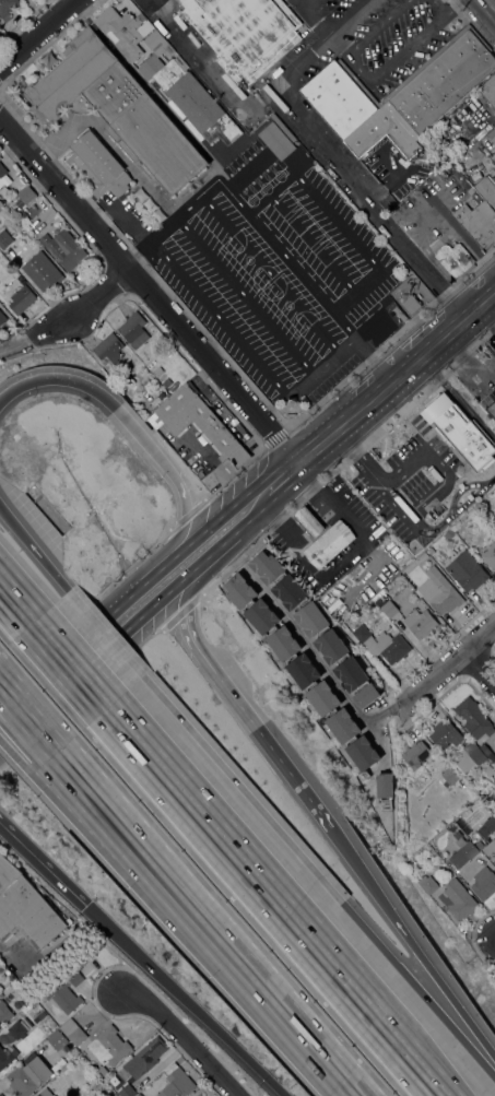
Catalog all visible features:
road: (492, 2)
building: (8, 8)
road: (436, 8)
road: (455, 8)
road: (308, 21)
road: (349, 21)
road: (380, 25)
building: (0, 30)
building: (123, 31)
road: (36, 32)
building: (245, 32)
road: (344, 42)
building: (157, 44)
road: (398, 62)
road: (300, 66)
building: (71, 73)
building: (443, 80)
building: (488, 91)
building: (190, 98)
building: (340, 99)
building: (141, 127)
road: (309, 129)
building: (387, 134)
building: (493, 140)
building: (275, 141)
building: (0, 157)
building: (494, 157)
building: (98, 164)
building: (3, 176)
building: (485, 191)
building: (24, 196)
building: (0, 204)
building: (7, 214)
building: (474, 215)
road: (256, 226)
building: (4, 239)
building: (63, 248)
road: (138, 251)
building: (455, 259)
building: (42, 272)
road: (148, 292)
building: (21, 299)
road: (92, 300)
building: (410, 304)
building: (399, 314)
building: (2, 318)
road: (260, 318)
road: (229, 326)
building: (133, 330)
road: (379, 335)
road: (27, 340)
building: (108, 349)
road: (370, 358)
building: (157, 372)
road: (394, 375)
building: (166, 382)
road: (457, 398)
building: (155, 402)
building: (490, 403)
building: (198, 423)
building: (460, 433)
road: (135, 434)
road: (490, 482)
road: (287, 486)
road: (459, 491)
road: (469, 502)
road: (300, 504)
road: (419, 504)
railway: (247, 516)
building: (308, 521)
road: (241, 527)
road: (427, 530)
building: (449, 534)
building: (328, 543)
building: (431, 551)
road: (35, 553)
building: (490, 555)
road: (341, 557)
building: (423, 557)
building: (267, 566)
building: (467, 570)
road: (250, 574)
road: (145, 584)
building: (239, 591)
building: (290, 591)
building: (439, 591)
building: (377, 594)
road: (14, 609)
building: (389, 609)
building: (261, 616)
building: (311, 618)
building: (420, 623)
road: (107, 636)
building: (283, 644)
building: (381, 644)
road: (108, 645)
building: (331, 646)
road: (481, 667)
road: (67, 668)
building: (303, 671)
road: (326, 671)
building: (351, 673)
road: (437, 677)
building: (366, 695)
road: (229, 696)
building: (322, 698)
building: (473, 718)
road: (28, 721)
building: (343, 726)
building: (445, 734)
building: (363, 753)
building: (486, 753)
building: (415, 755)
building: (469, 756)
road: (16, 757)
building: (488, 771)
building: (449, 776)
building: (385, 786)
building: (487, 826)
building: (479, 845)
building: (490, 850)
building: (462, 851)
building: (7, 874)
road: (320, 875)
building: (427, 884)
building: (484, 884)
road: (269, 898)
building: (457, 899)
road: (165, 903)
road: (94, 912)
building: (27, 914)
road: (205, 924)
road: (413, 950)
building: (63, 993)
building: (27, 998)
building: (35, 1005)
building: (4, 1013)
building: (20, 1028)
building: (73, 1033)
road: (180, 1038)
building: (57, 1039)
building: (108, 1047)
road: (236, 1049)
building: (12, 1051)
building: (145, 1057)
building: (4, 1058)
building: (102, 1071)
building: (27, 1076)
building: (176, 1083)
building: (127, 1091)
road: (437, 1092)
building: (45, 1093)
building: (54, 1095)
building: (114, 1095)
building: (138, 1095)

